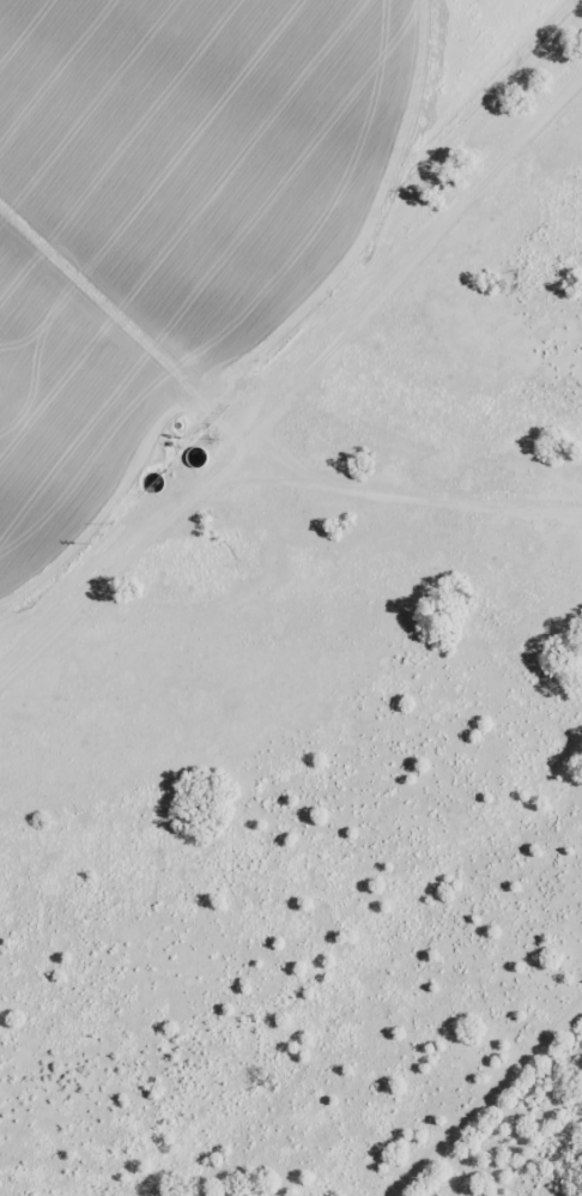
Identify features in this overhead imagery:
road: (74, 588)

